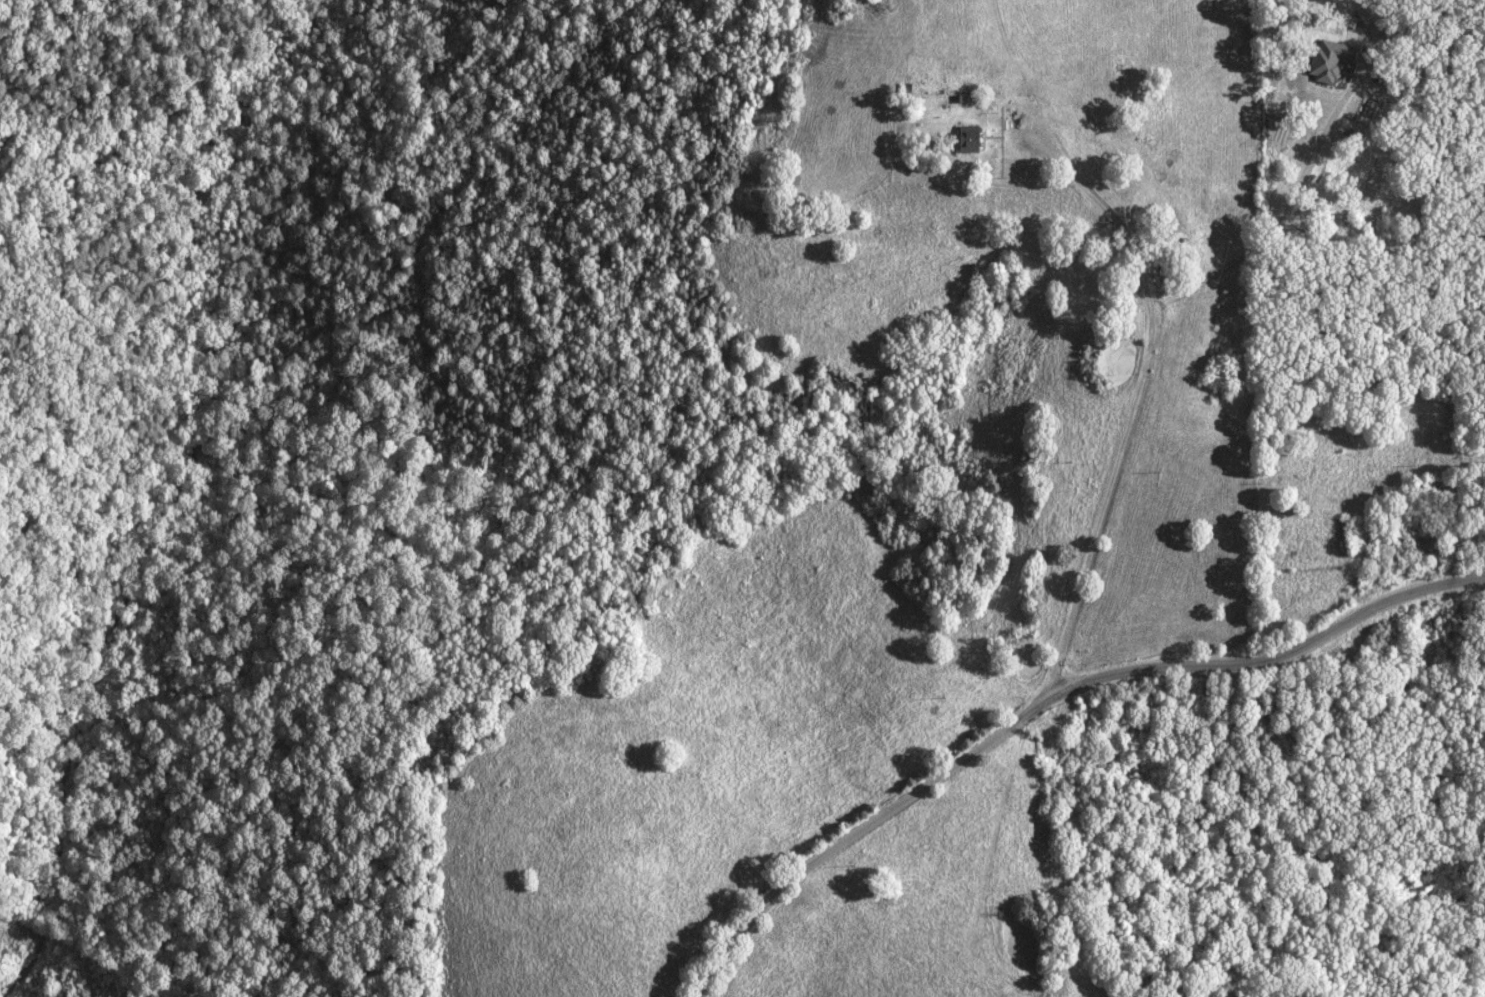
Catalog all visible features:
building: (1324, 58)
building: (962, 141)
road: (1046, 703)

